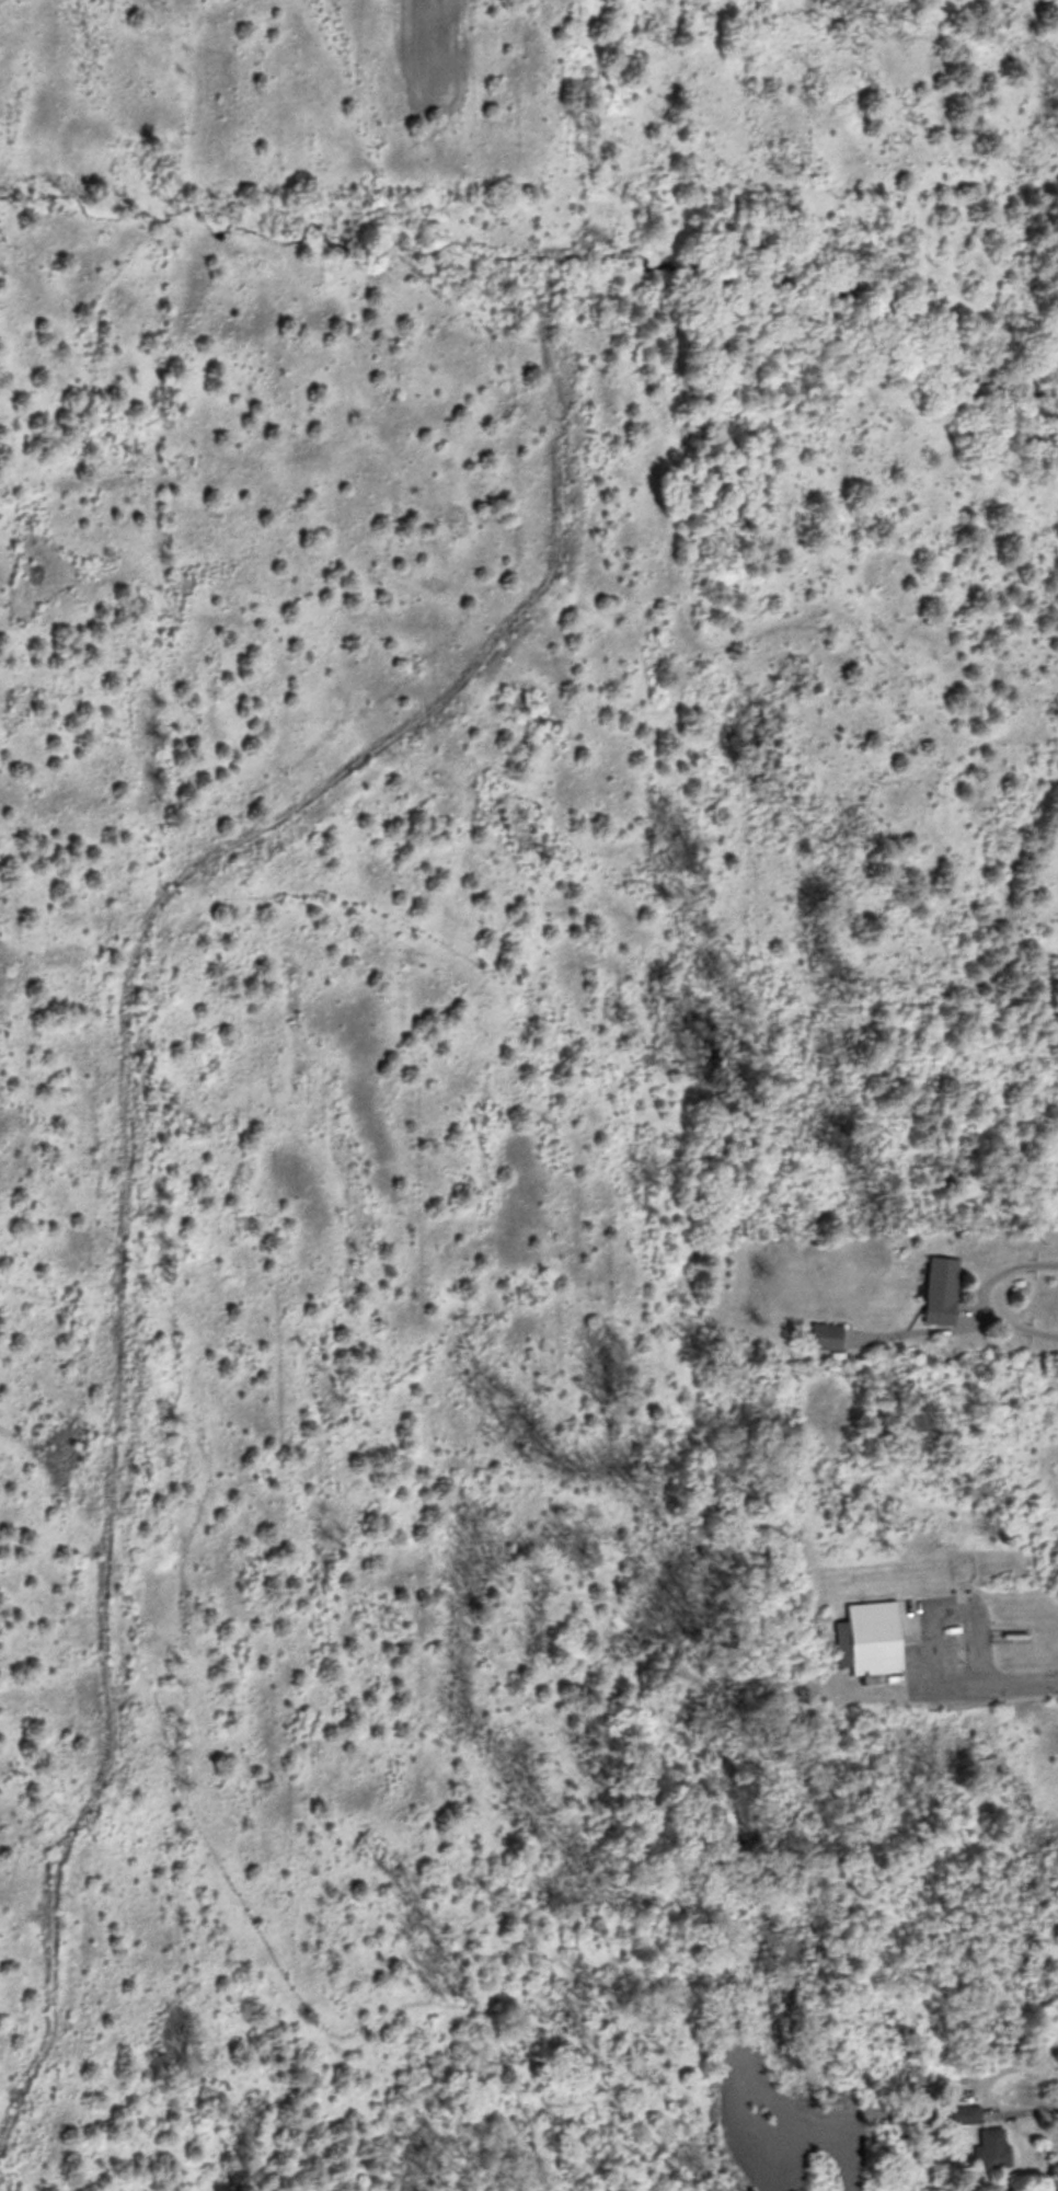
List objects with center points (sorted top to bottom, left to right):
building: (940, 1287)
building: (825, 1331)
building: (873, 1632)
building: (810, 1683)
building: (965, 2111)
building: (993, 2145)

